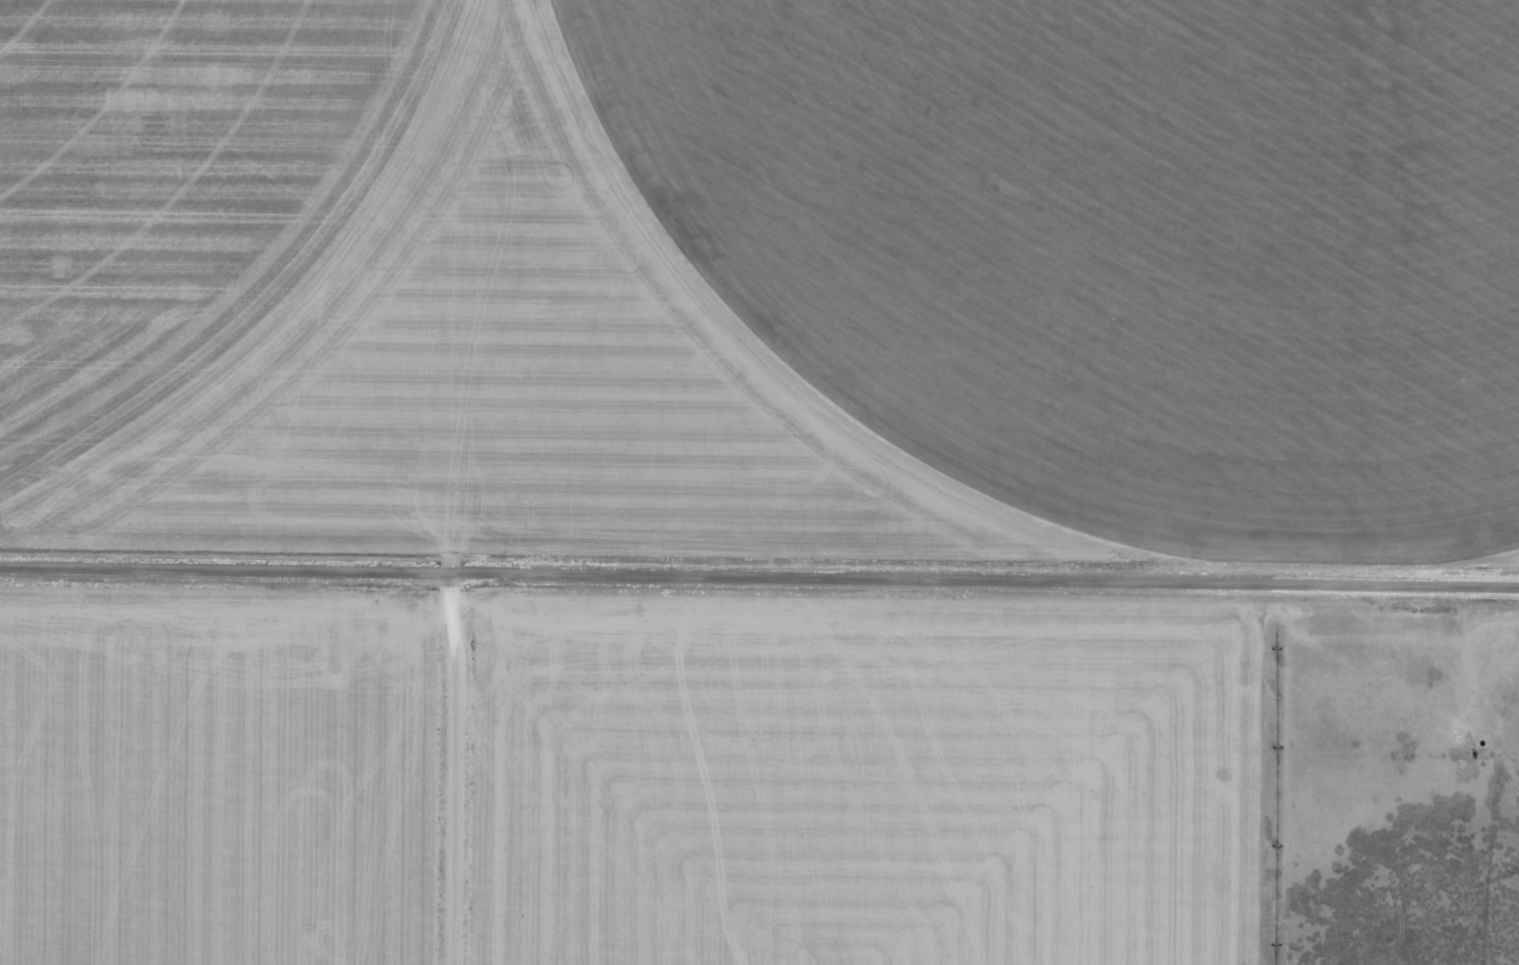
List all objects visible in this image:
road: (759, 572)
road: (463, 766)

